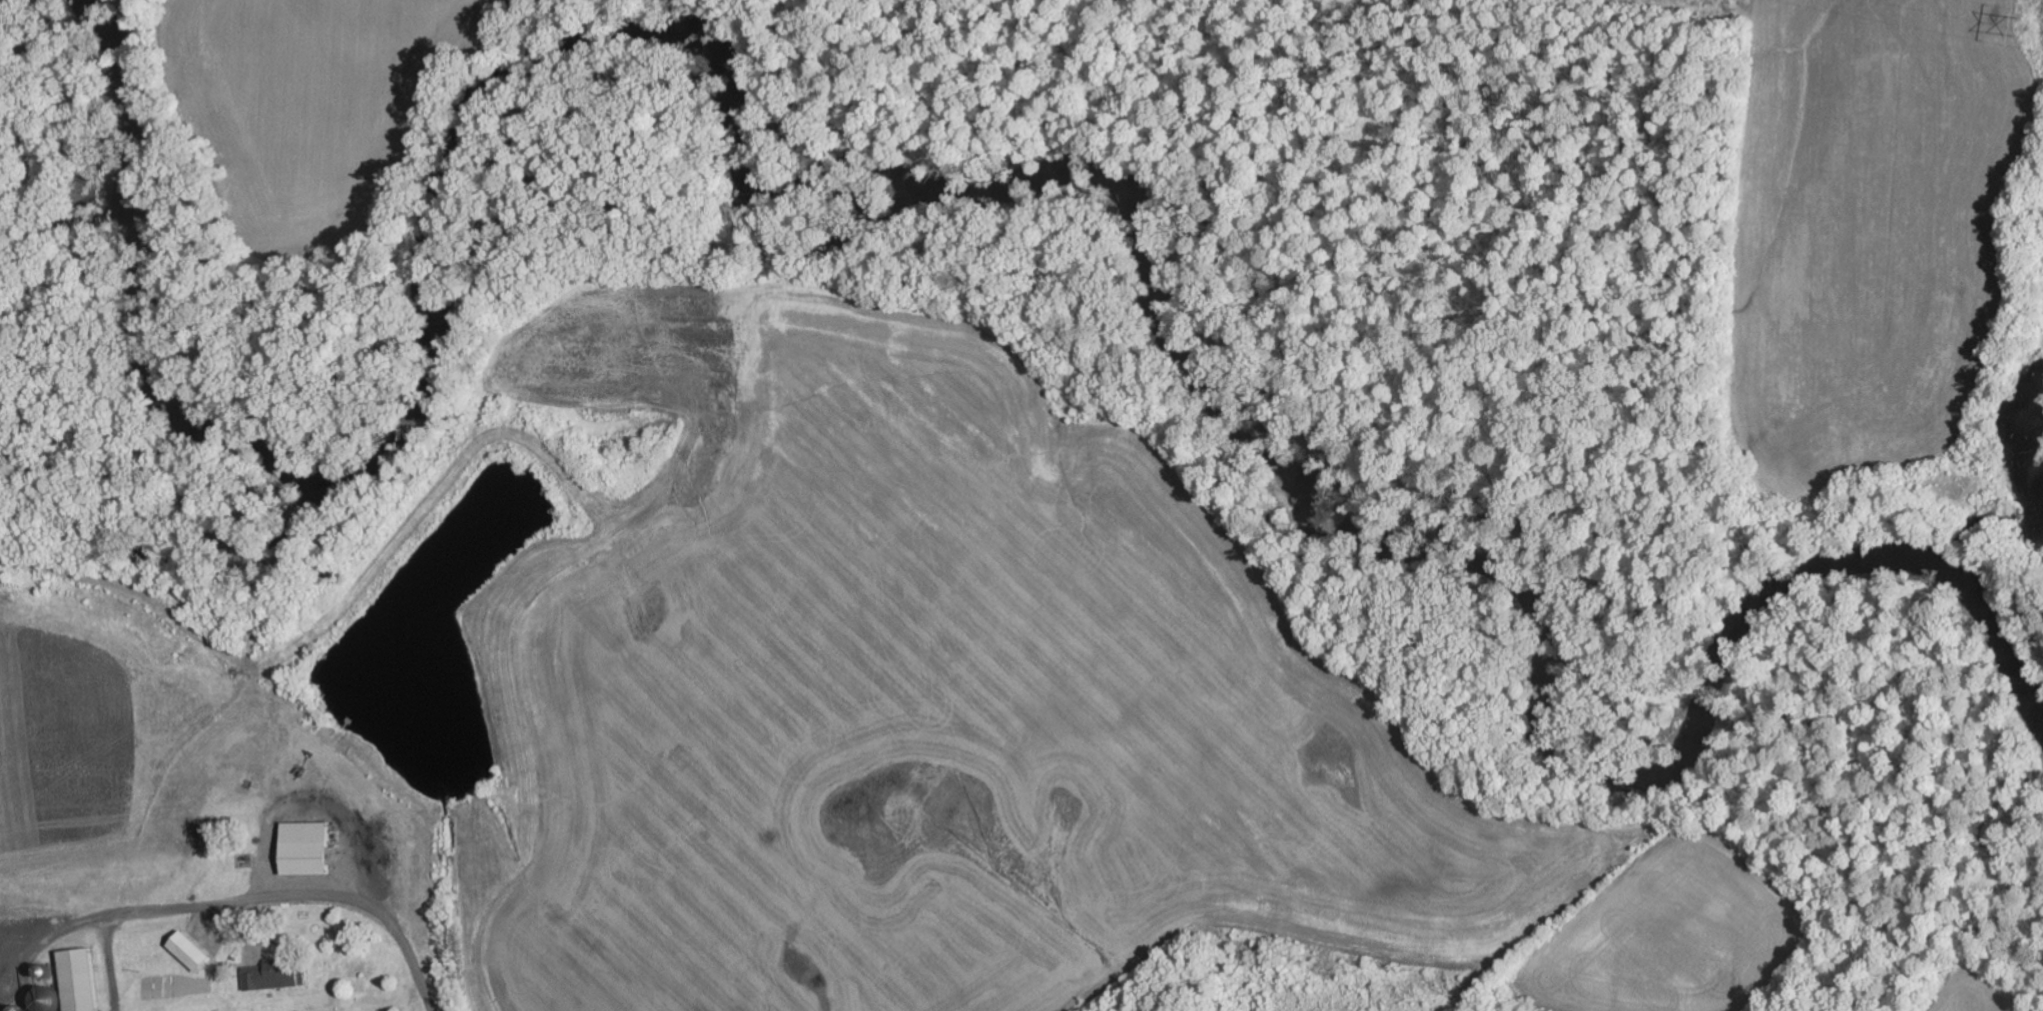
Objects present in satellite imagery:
power tower: (2011, 23)
river: (815, 212)
building: (305, 850)
road: (367, 908)
building: (190, 953)
building: (269, 978)
building: (68, 983)

